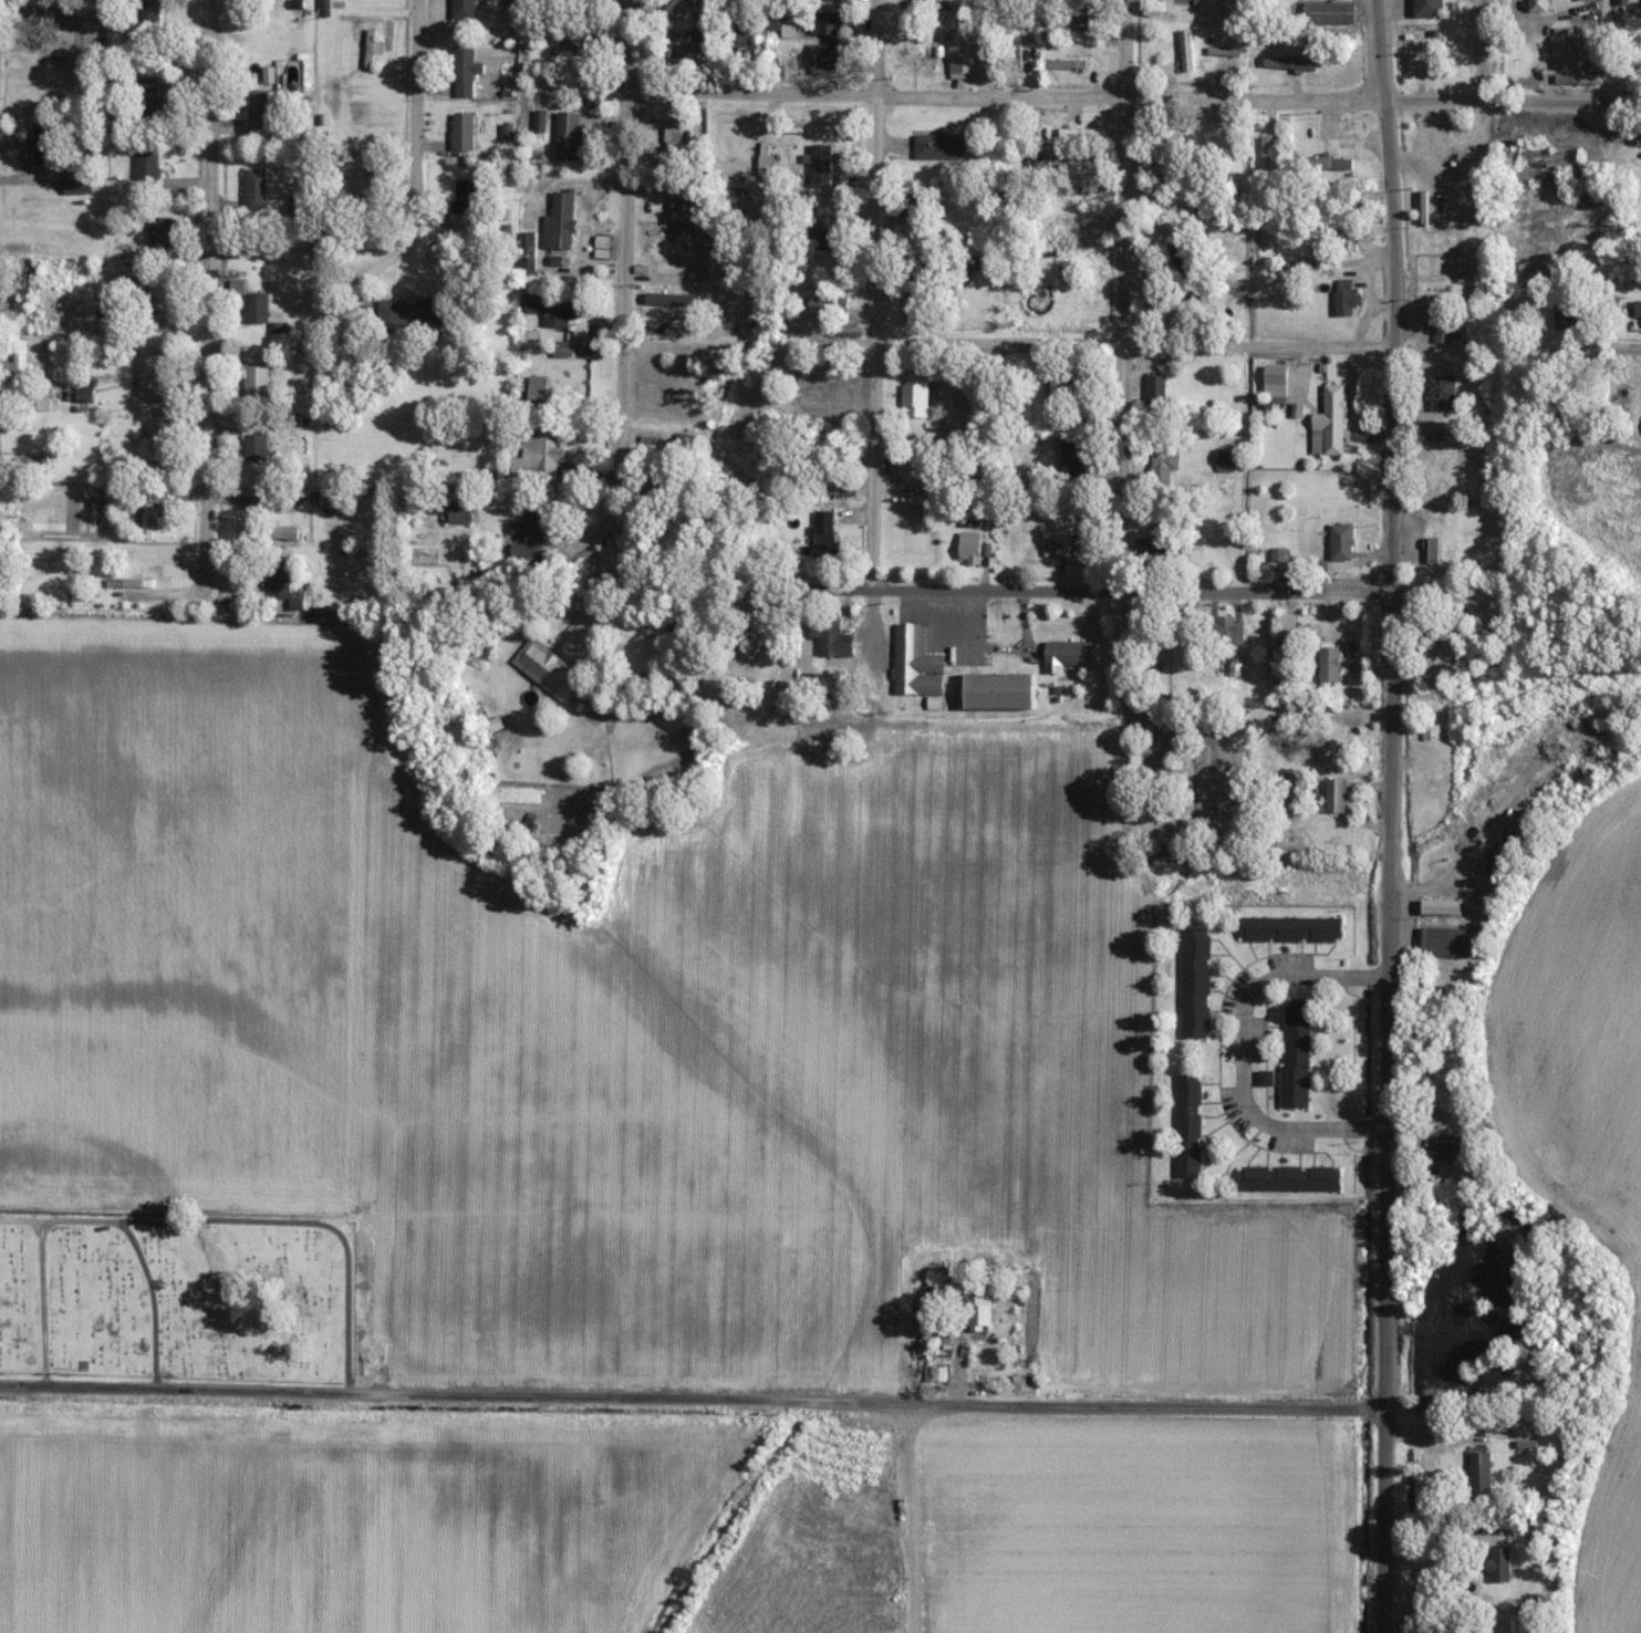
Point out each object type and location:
building: (1639, 1)
building: (679, 7)
building: (1429, 8)
building: (464, 9)
building: (148, 11)
building: (1330, 12)
building: (827, 22)
building: (914, 32)
building: (1567, 42)
building: (565, 44)
building: (681, 46)
building: (371, 49)
building: (824, 59)
building: (1067, 64)
building: (466, 70)
road: (1481, 72)
building: (148, 97)
road: (1003, 97)
road: (1431, 101)
road: (1560, 101)
building: (262, 111)
building: (463, 131)
building: (568, 136)
building: (939, 146)
building: (1266, 152)
building: (1171, 156)
building: (1331, 164)
building: (821, 165)
building: (1038, 165)
building: (147, 168)
road: (414, 173)
building: (79, 181)
building: (366, 184)
building: (256, 189)
building: (466, 197)
building: (561, 222)
building: (160, 231)
building: (828, 235)
building: (1349, 241)
building: (1182, 250)
building: (123, 251)
road: (210, 289)
road: (877, 293)
building: (160, 298)
building: (1346, 298)
road: (619, 301)
building: (829, 302)
building: (915, 305)
building: (551, 306)
building: (257, 308)
building: (409, 312)
building: (1571, 318)
building: (1442, 332)
road: (1005, 342)
road: (1601, 346)
building: (17, 361)
building: (149, 372)
road: (1116, 373)
building: (257, 378)
building: (1276, 381)
building: (538, 387)
building: (1156, 388)
building: (1440, 394)
building: (915, 395)
building: (1330, 424)
building: (159, 441)
building: (256, 447)
building: (539, 454)
building: (1073, 459)
building: (1226, 461)
building: (1165, 467)
building: (917, 480)
building: (839, 487)
building: (461, 512)
building: (148, 517)
building: (271, 533)
building: (824, 533)
building: (531, 541)
building: (1341, 543)
building: (970, 549)
building: (1062, 551)
building: (1434, 551)
building: (279, 575)
road: (1022, 589)
building: (1288, 626)
building: (1224, 631)
building: (833, 638)
building: (1069, 655)
building: (917, 663)
building: (1331, 665)
building: (549, 672)
building: (769, 675)
building: (1003, 691)
road: (1389, 703)
building: (495, 725)
building: (1336, 795)
building: (1443, 908)
building: (1291, 929)
building: (1451, 943)
building: (1196, 982)
building: (1296, 1053)
road: (1243, 1057)
building: (1188, 1126)
building: (1442, 1148)
building: (1290, 1178)
road: (252, 1221)
park: (179, 1294)
road: (152, 1301)
road: (40, 1303)
building: (979, 1313)
building: (932, 1374)
road: (690, 1400)
building: (1481, 1473)
road: (907, 1517)
road: (1382, 1520)
building: (1499, 1564)
building: (1515, 1626)

